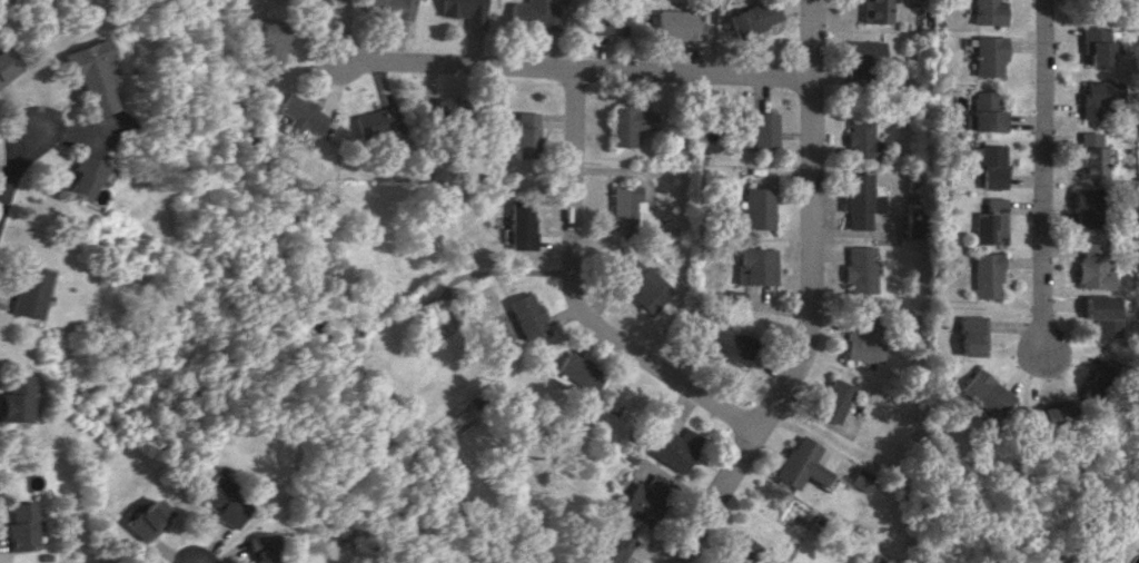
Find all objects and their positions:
building: (311, 4)
building: (390, 8)
building: (465, 11)
building: (880, 11)
building: (988, 12)
building: (535, 13)
building: (755, 18)
building: (607, 22)
building: (679, 24)
building: (1095, 45)
building: (267, 49)
building: (988, 56)
building: (865, 58)
building: (4, 66)
road: (575, 70)
building: (87, 73)
building: (1097, 98)
building: (449, 110)
building: (983, 112)
building: (298, 116)
building: (374, 120)
building: (630, 124)
building: (764, 129)
building: (526, 135)
building: (863, 139)
building: (1087, 154)
building: (987, 165)
road: (13, 172)
road: (1040, 175)
building: (77, 178)
building: (860, 200)
building: (623, 206)
building: (1082, 207)
building: (756, 208)
building: (989, 223)
building: (521, 225)
building: (752, 266)
building: (1087, 266)
building: (859, 269)
building: (984, 275)
building: (643, 285)
building: (28, 292)
road: (577, 295)
road: (808, 300)
building: (1095, 314)
building: (527, 316)
building: (433, 317)
building: (967, 335)
building: (859, 344)
building: (724, 345)
building: (578, 371)
building: (1091, 378)
building: (981, 392)
building: (14, 397)
building: (832, 401)
building: (1049, 409)
building: (671, 446)
building: (800, 464)
building: (860, 478)
building: (642, 498)
building: (222, 501)
building: (148, 518)
building: (20, 526)
building: (260, 547)
building: (610, 549)
building: (739, 551)

